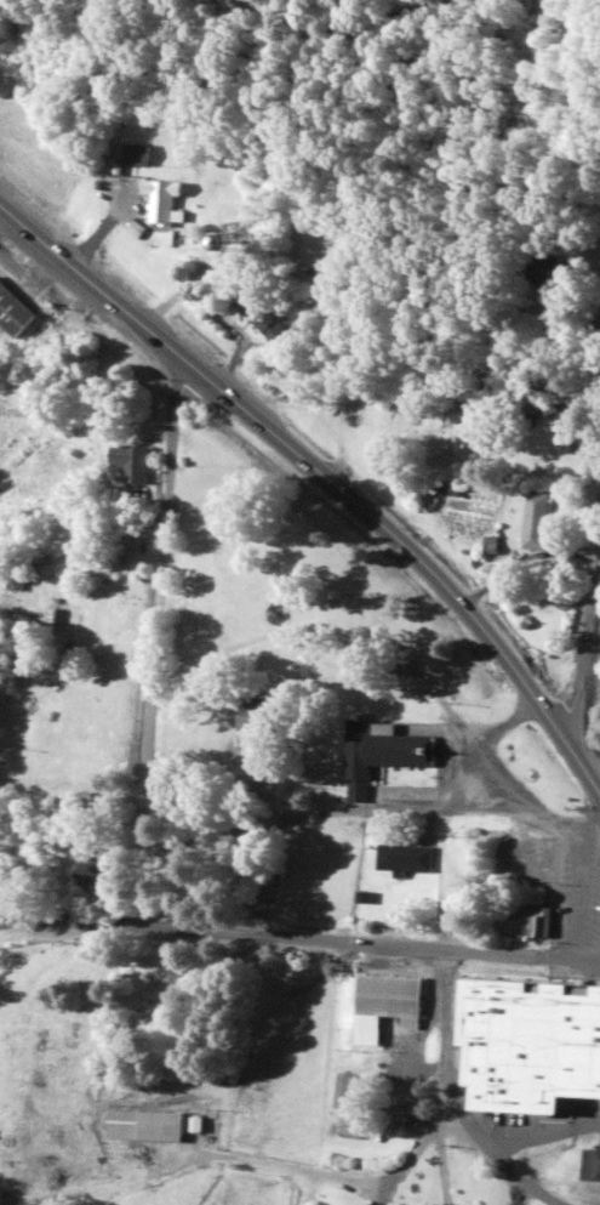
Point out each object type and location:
building: (143, 157)
building: (168, 206)
building: (269, 246)
building: (16, 313)
building: (268, 320)
building: (130, 464)
road: (325, 482)
building: (535, 522)
road: (584, 570)
road: (156, 585)
building: (379, 755)
road: (370, 801)
building: (69, 832)
building: (402, 860)
road: (139, 865)
building: (96, 873)
road: (299, 938)
building: (393, 1001)
building: (555, 1046)
road: (59, 1052)
road: (252, 1070)
building: (343, 1092)
building: (149, 1127)
building: (593, 1167)

